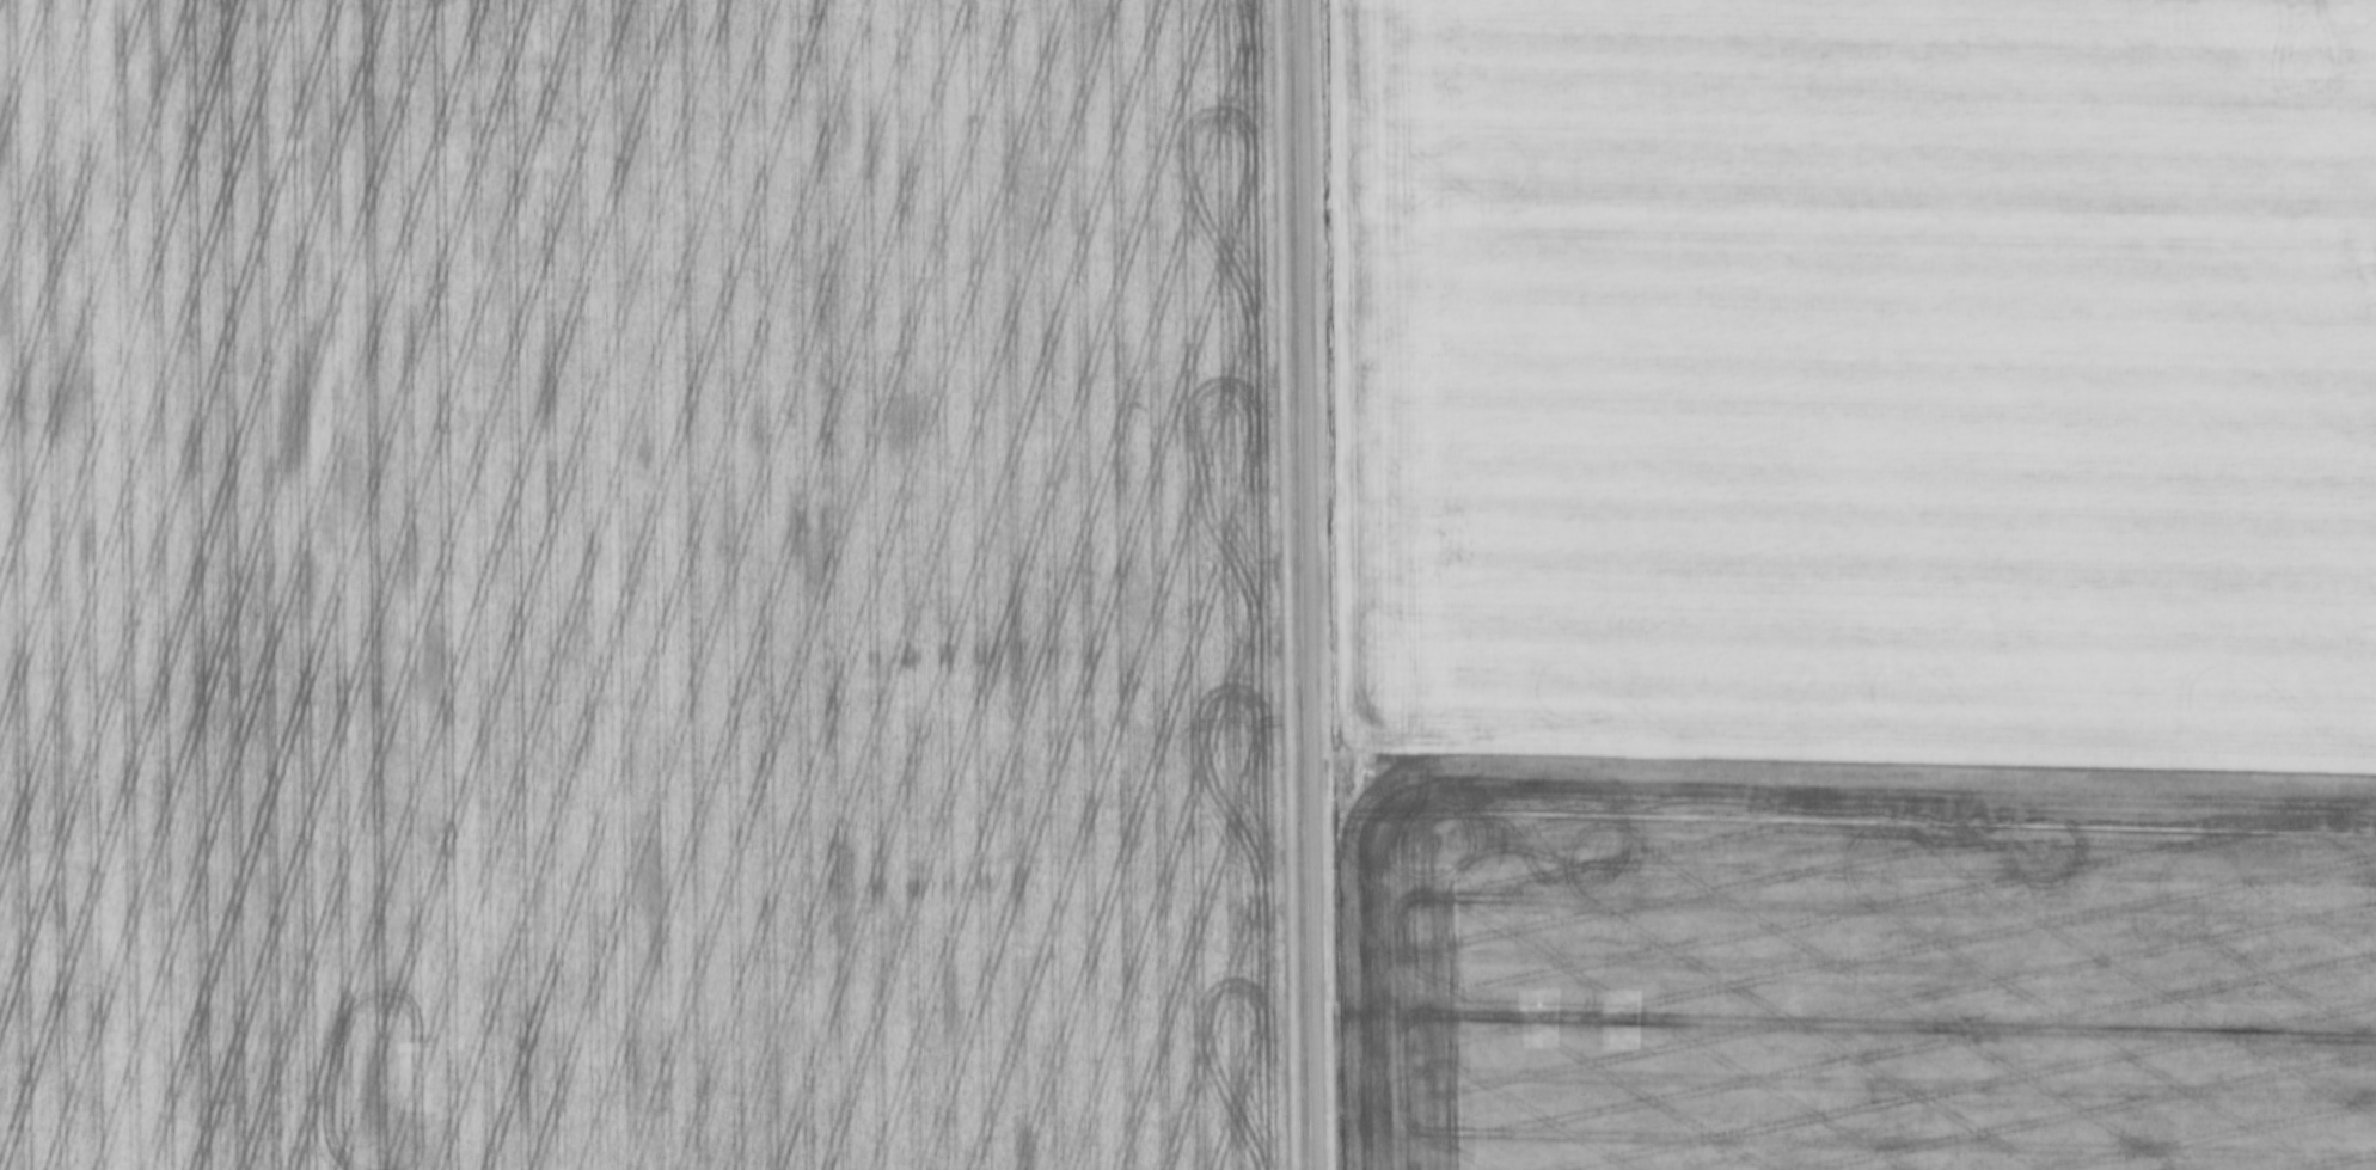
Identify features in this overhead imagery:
road: (1310, 584)

